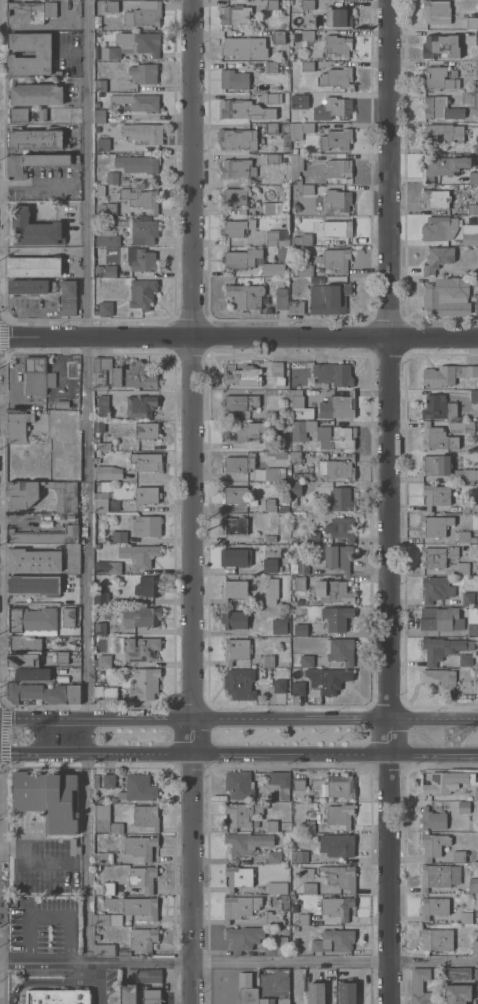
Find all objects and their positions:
building: (272, 4)
building: (307, 4)
building: (110, 6)
building: (29, 12)
building: (436, 12)
building: (234, 14)
building: (147, 16)
building: (337, 17)
building: (471, 23)
building: (308, 35)
building: (278, 37)
building: (476, 37)
building: (140, 42)
building: (337, 46)
building: (441, 46)
building: (244, 47)
building: (98, 51)
building: (42, 53)
building: (111, 53)
building: (307, 66)
building: (271, 67)
building: (476, 69)
building: (144, 73)
building: (453, 74)
building: (336, 77)
building: (439, 79)
building: (234, 80)
building: (99, 85)
building: (476, 86)
building: (36, 94)
building: (307, 97)
building: (273, 98)
building: (470, 98)
building: (299, 100)
building: (138, 102)
building: (441, 108)
building: (333, 109)
building: (246, 110)
building: (27, 114)
building: (99, 116)
building: (278, 128)
building: (300, 130)
building: (143, 132)
building: (443, 133)
building: (477, 135)
building: (238, 138)
building: (36, 139)
building: (336, 139)
building: (99, 147)
building: (476, 148)
building: (273, 158)
building: (36, 163)
building: (138, 164)
building: (444, 166)
building: (237, 168)
building: (296, 168)
building: (338, 168)
building: (473, 177)
building: (112, 178)
building: (447, 179)
building: (307, 189)
building: (99, 190)
building: (234, 197)
building: (436, 198)
building: (140, 199)
building: (338, 199)
building: (297, 206)
building: (107, 209)
building: (270, 209)
building: (472, 209)
building: (233, 228)
building: (439, 228)
building: (33, 229)
building: (145, 229)
building: (337, 232)
building: (470, 234)
building: (272, 237)
building: (107, 238)
building: (302, 240)
building: (286, 242)
building: (122, 249)
building: (437, 258)
building: (140, 259)
building: (334, 259)
building: (237, 260)
building: (34, 266)
building: (306, 268)
building: (106, 270)
building: (269, 270)
building: (31, 287)
building: (142, 293)
building: (246, 296)
building: (446, 297)
building: (68, 298)
building: (281, 299)
building: (329, 299)
building: (476, 305)
building: (296, 307)
building: (106, 309)
road: (238, 340)
building: (278, 373)
building: (124, 374)
building: (333, 374)
building: (447, 374)
building: (37, 376)
building: (245, 376)
building: (474, 396)
building: (102, 400)
building: (240, 403)
building: (141, 405)
building: (300, 406)
building: (338, 406)
building: (438, 408)
building: (103, 413)
building: (270, 415)
building: (19, 423)
building: (461, 427)
building: (302, 429)
building: (147, 431)
building: (245, 432)
building: (97, 434)
building: (336, 438)
building: (437, 438)
building: (15, 439)
building: (270, 444)
building: (297, 448)
building: (277, 454)
building: (96, 460)
building: (146, 462)
building: (238, 464)
building: (435, 465)
building: (296, 467)
building: (337, 469)
building: (107, 473)
building: (269, 474)
building: (464, 475)
building: (287, 478)
road: (89, 480)
building: (296, 489)
building: (147, 495)
building: (235, 496)
building: (436, 496)
building: (23, 497)
building: (341, 499)
building: (293, 500)
road: (388, 501)
building: (101, 502)
road: (191, 502)
building: (286, 502)
building: (116, 505)
building: (270, 505)
building: (467, 507)
building: (283, 509)
building: (147, 525)
building: (235, 526)
building: (435, 526)
building: (342, 528)
building: (46, 535)
building: (120, 537)
building: (313, 537)
building: (465, 537)
building: (270, 539)
building: (97, 546)
building: (304, 546)
building: (140, 554)
building: (438, 556)
building: (235, 557)
building: (338, 557)
building: (73, 558)
building: (35, 561)
building: (109, 567)
building: (302, 567)
building: (463, 568)
building: (270, 570)
building: (99, 578)
building: (300, 583)
building: (33, 586)
building: (149, 586)
building: (435, 589)
building: (234, 590)
building: (337, 593)
building: (101, 595)
building: (469, 598)
building: (272, 601)
building: (143, 616)
building: (68, 617)
building: (336, 618)
building: (32, 619)
building: (234, 620)
building: (441, 620)
building: (279, 626)
building: (100, 629)
building: (473, 629)
building: (300, 630)
building: (23, 643)
building: (141, 648)
building: (443, 648)
building: (236, 650)
building: (339, 650)
building: (62, 657)
building: (23, 658)
building: (103, 660)
building: (465, 660)
building: (268, 661)
building: (307, 661)
building: (32, 674)
building: (328, 679)
building: (438, 680)
building: (145, 684)
building: (240, 684)
building: (280, 686)
building: (475, 686)
building: (298, 688)
building: (34, 692)
building: (73, 693)
building: (105, 693)
road: (238, 717)
power tower: (19, 736)
power tower: (452, 736)
road: (238, 756)
building: (96, 780)
building: (109, 781)
building: (281, 783)
building: (299, 784)
building: (440, 784)
building: (239, 785)
building: (341, 786)
building: (138, 788)
building: (96, 795)
building: (476, 795)
building: (48, 799)
building: (113, 799)
building: (102, 800)
building: (464, 807)
building: (242, 815)
building: (340, 815)
building: (147, 816)
building: (433, 819)
building: (105, 821)
building: (271, 826)
building: (309, 826)
building: (246, 843)
building: (337, 845)
building: (433, 845)
building: (74, 847)
building: (140, 847)
building: (458, 856)
building: (274, 857)
building: (293, 857)
building: (301, 857)
building: (103, 858)
road: (43, 861)
building: (97, 866)
building: (339, 876)
building: (239, 877)
building: (435, 877)
building: (143, 878)
building: (108, 888)
building: (277, 888)
building: (309, 888)
building: (473, 888)
building: (284, 901)
building: (134, 906)
building: (240, 907)
building: (337, 907)
building: (434, 907)
building: (466, 917)
road: (49, 918)
building: (272, 919)
building: (304, 919)
building: (108, 920)
building: (295, 928)
building: (243, 938)
building: (437, 939)
building: (144, 940)
building: (334, 941)
building: (277, 947)
building: (475, 947)
building: (104, 950)
road: (48, 960)
road: (287, 961)
building: (458, 974)
building: (476, 974)
building: (149, 976)
road: (47, 980)
road: (98, 982)
building: (282, 986)
building: (417, 986)
building: (248, 989)
building: (267, 989)
building: (316, 993)
building: (347, 993)
building: (129, 994)
building: (458, 994)
building: (58, 996)
building: (477, 998)
building: (152, 1002)

